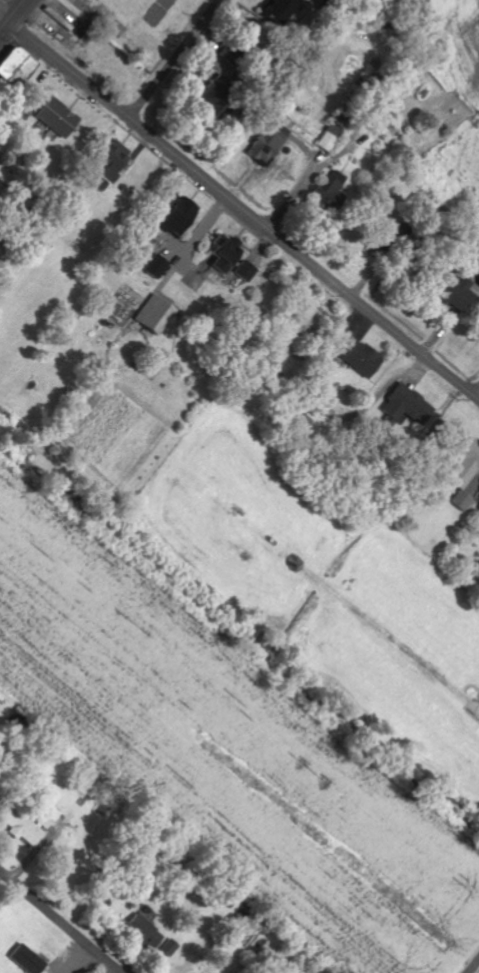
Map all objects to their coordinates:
building: (276, 10)
road: (4, 15)
road: (12, 15)
road: (175, 58)
building: (14, 66)
building: (56, 117)
building: (267, 143)
building: (110, 160)
building: (326, 189)
road: (243, 210)
building: (175, 215)
building: (223, 253)
building: (155, 266)
building: (242, 273)
building: (452, 290)
building: (307, 314)
building: (153, 315)
building: (358, 356)
road: (477, 394)
building: (321, 399)
building: (406, 407)
building: (464, 470)
building: (28, 824)
road: (60, 921)
building: (140, 932)
building: (167, 948)
building: (25, 959)
road: (474, 967)

